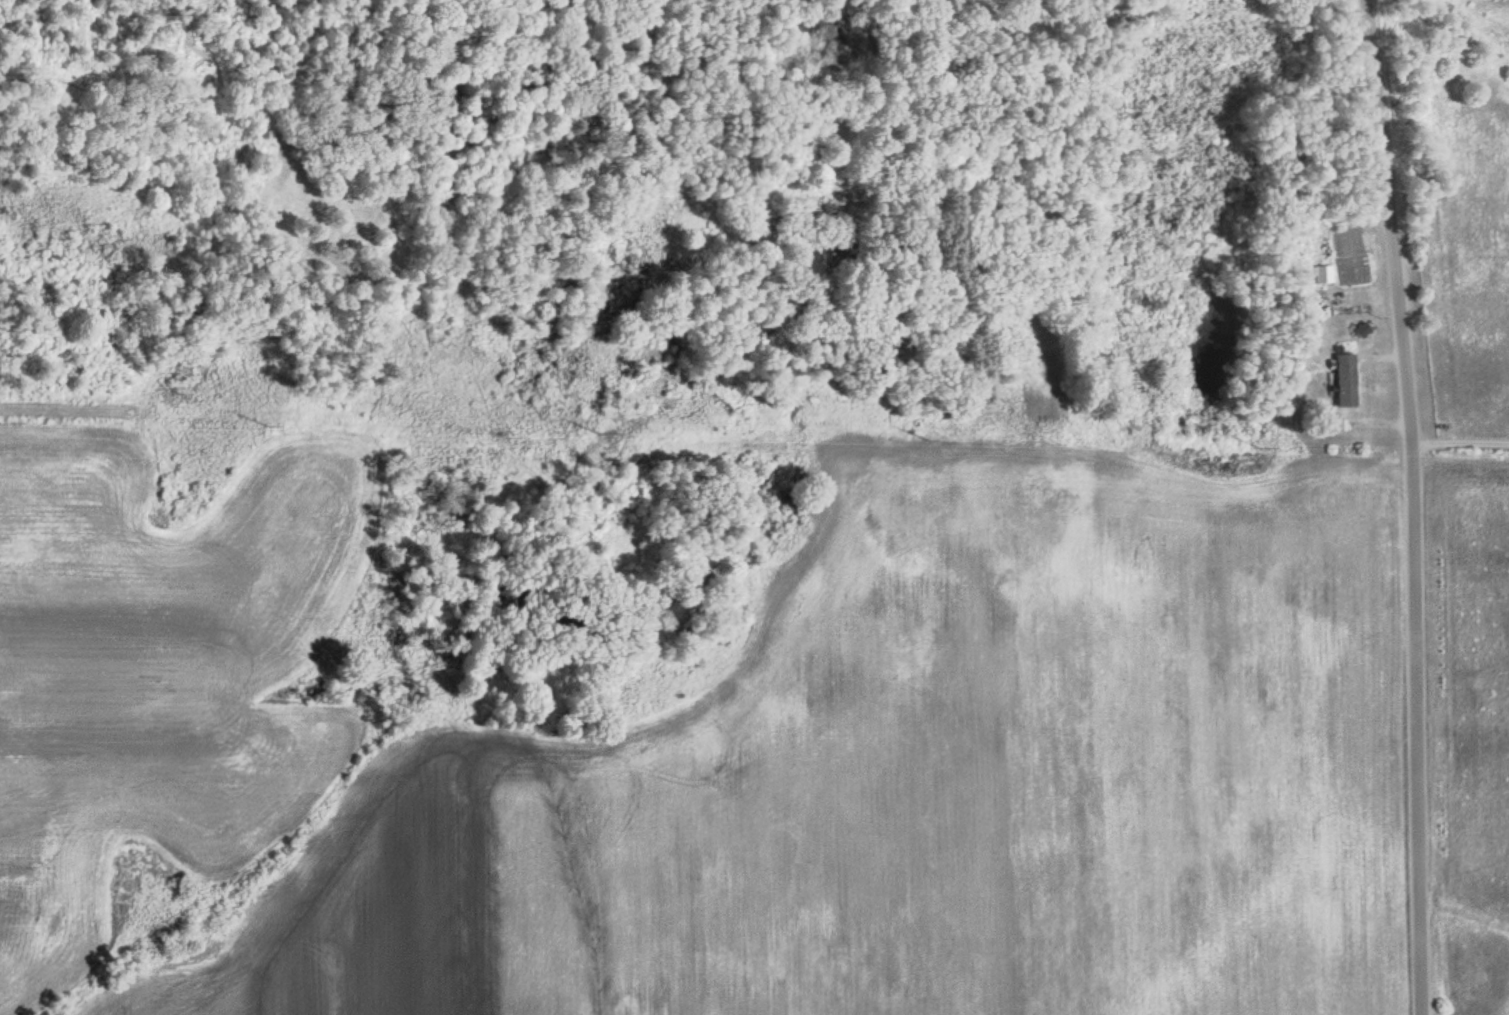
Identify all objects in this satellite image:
building: (1347, 381)
road: (1410, 506)

